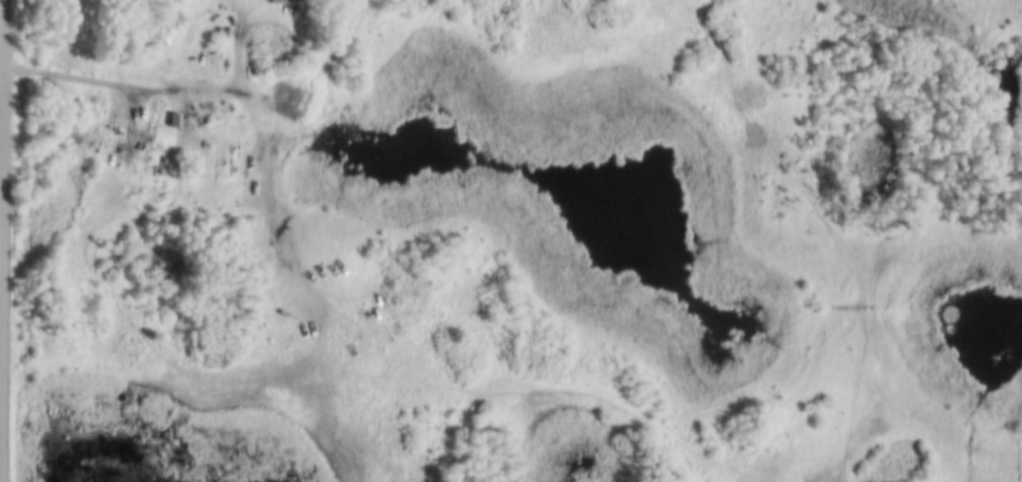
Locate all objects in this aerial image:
road: (147, 89)
building: (172, 117)
building: (169, 124)
road: (1, 240)

